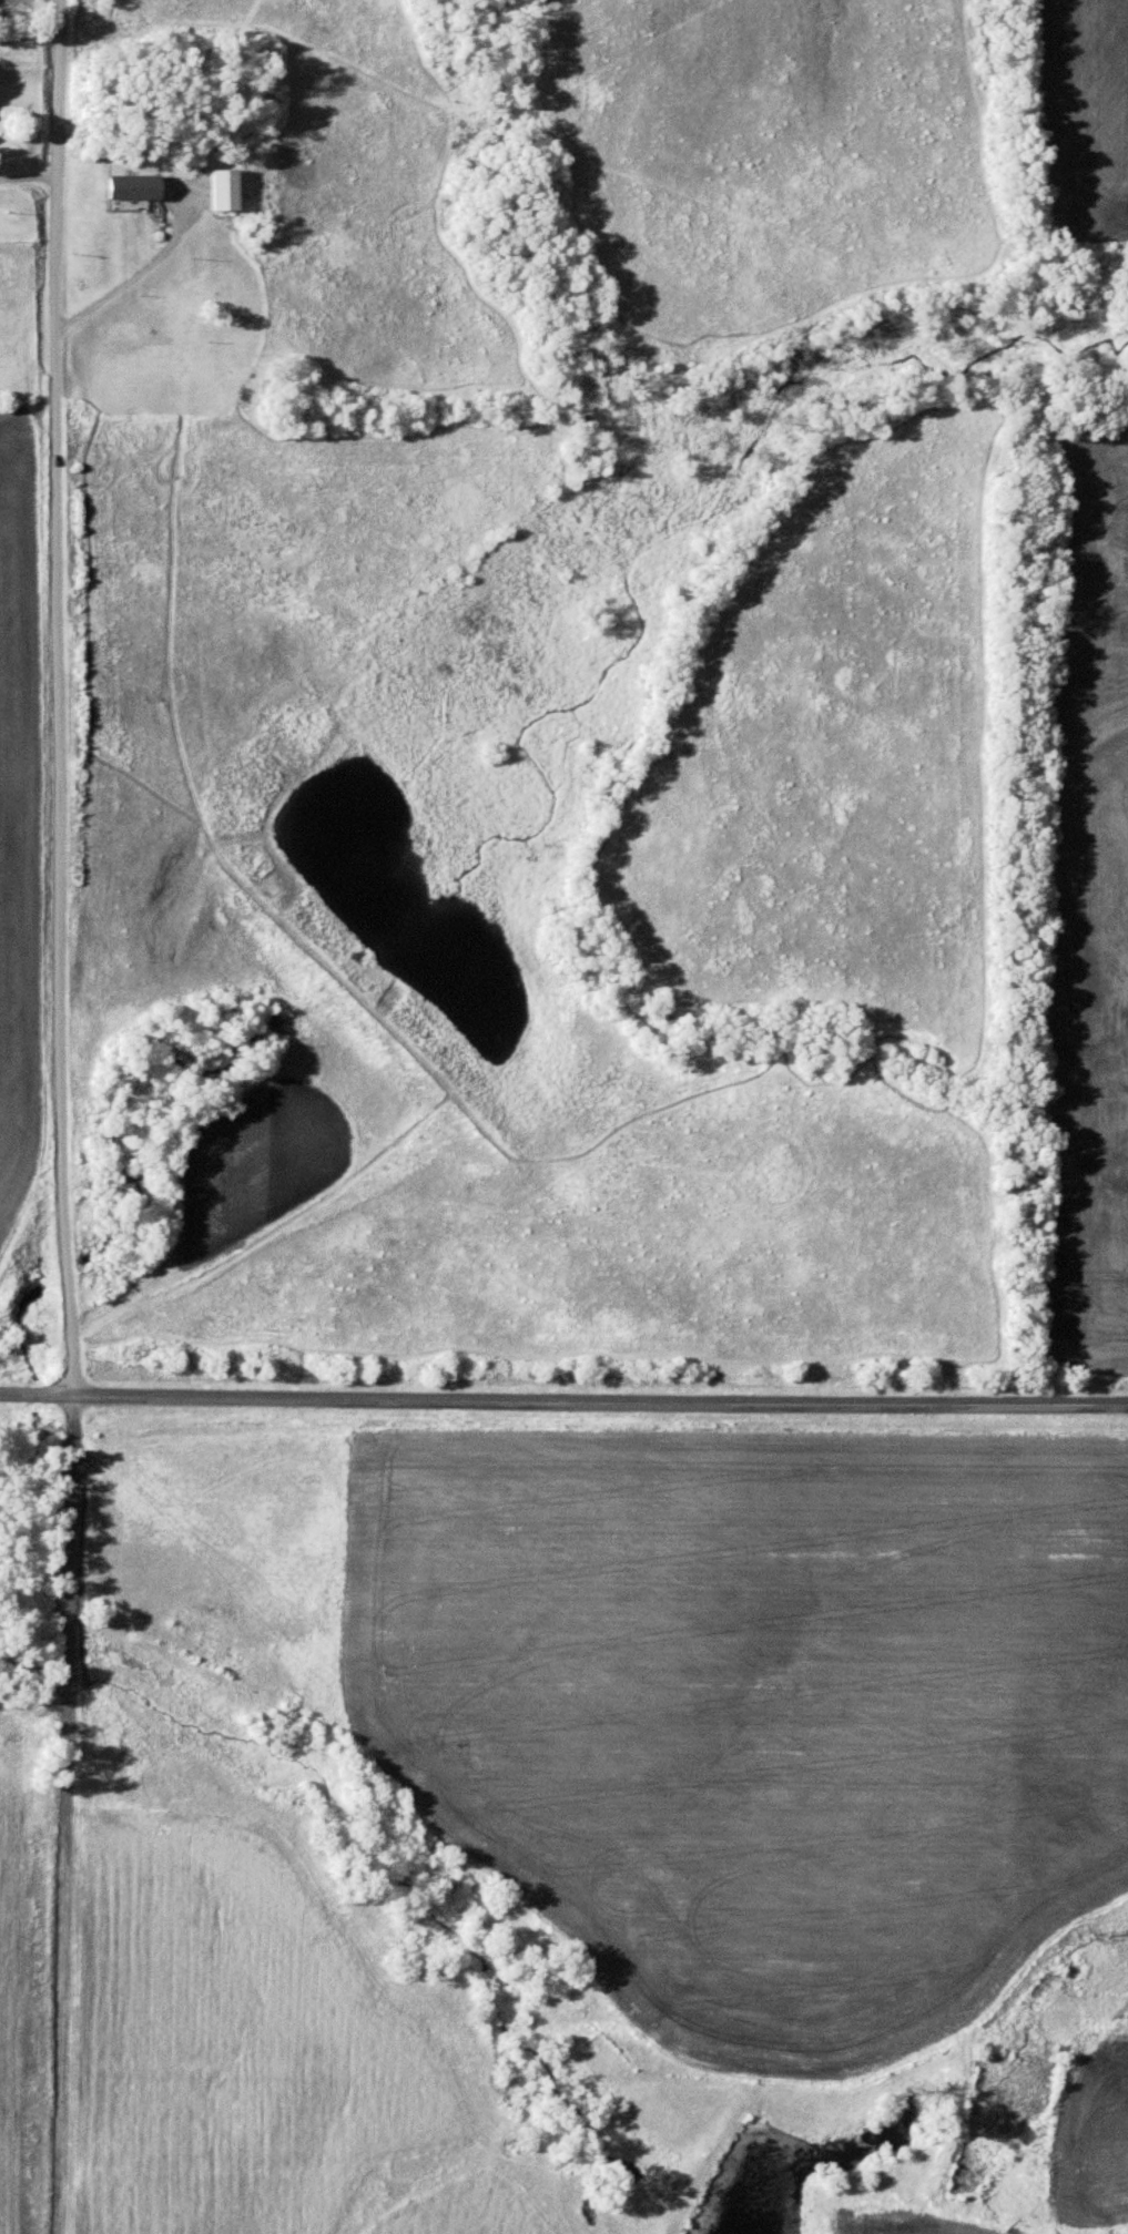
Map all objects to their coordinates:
road: (29, 175)
building: (132, 185)
building: (222, 187)
road: (143, 268)
road: (64, 1116)
road: (563, 1401)
building: (221, 1610)

